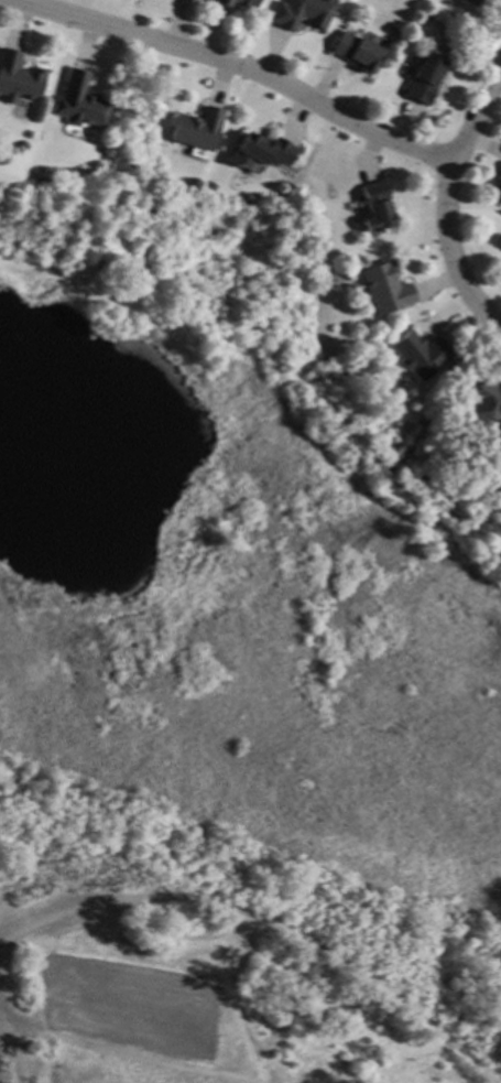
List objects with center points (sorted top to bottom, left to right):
building: (470, 2)
building: (235, 3)
building: (301, 13)
building: (355, 52)
road: (240, 67)
building: (423, 77)
building: (17, 78)
building: (77, 101)
building: (195, 129)
building: (260, 152)
building: (499, 185)
road: (446, 202)
building: (374, 206)
building: (384, 288)
building: (418, 355)
building: (481, 402)

